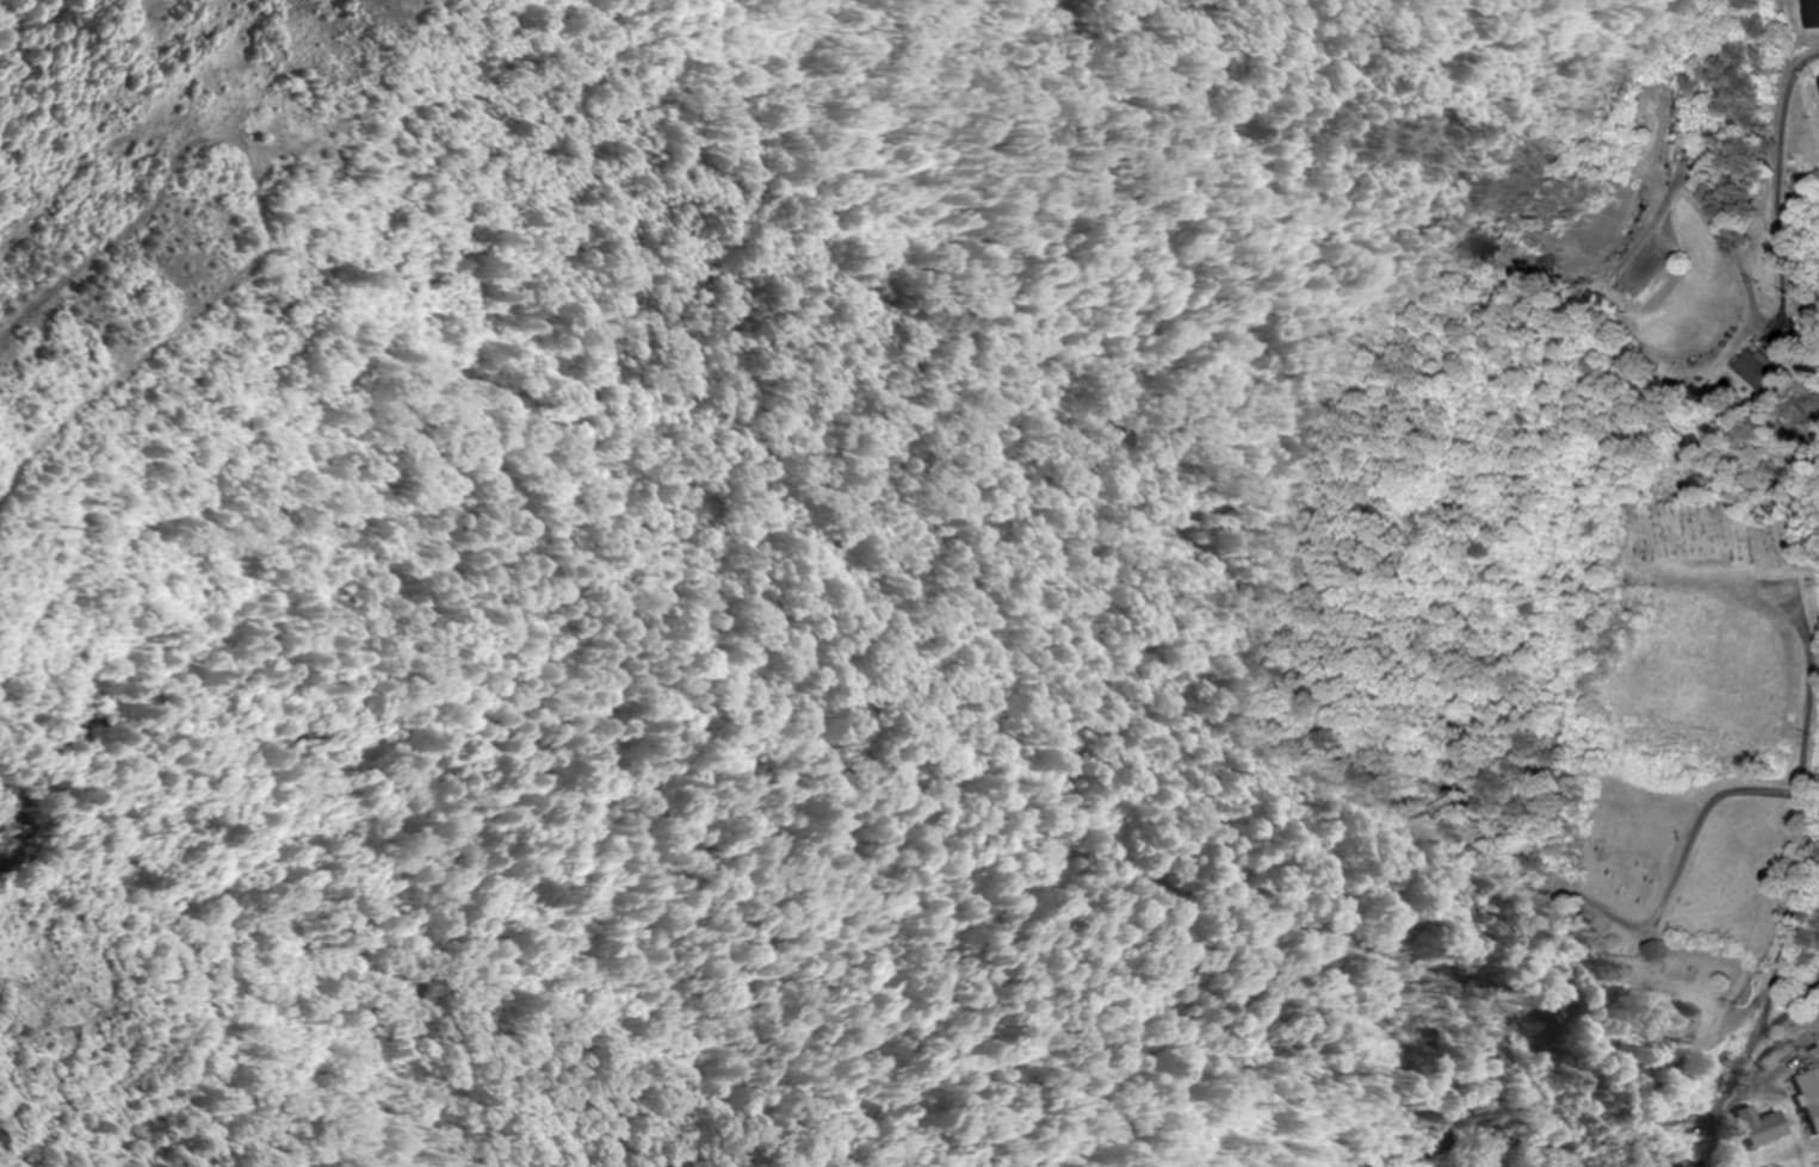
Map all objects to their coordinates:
building: (1814, 88)
road: (1784, 194)
road: (1677, 342)
road: (1712, 360)
building: (1756, 373)
road: (1807, 884)
building: (1774, 1055)
building: (1813, 1109)
building: (1761, 1126)

